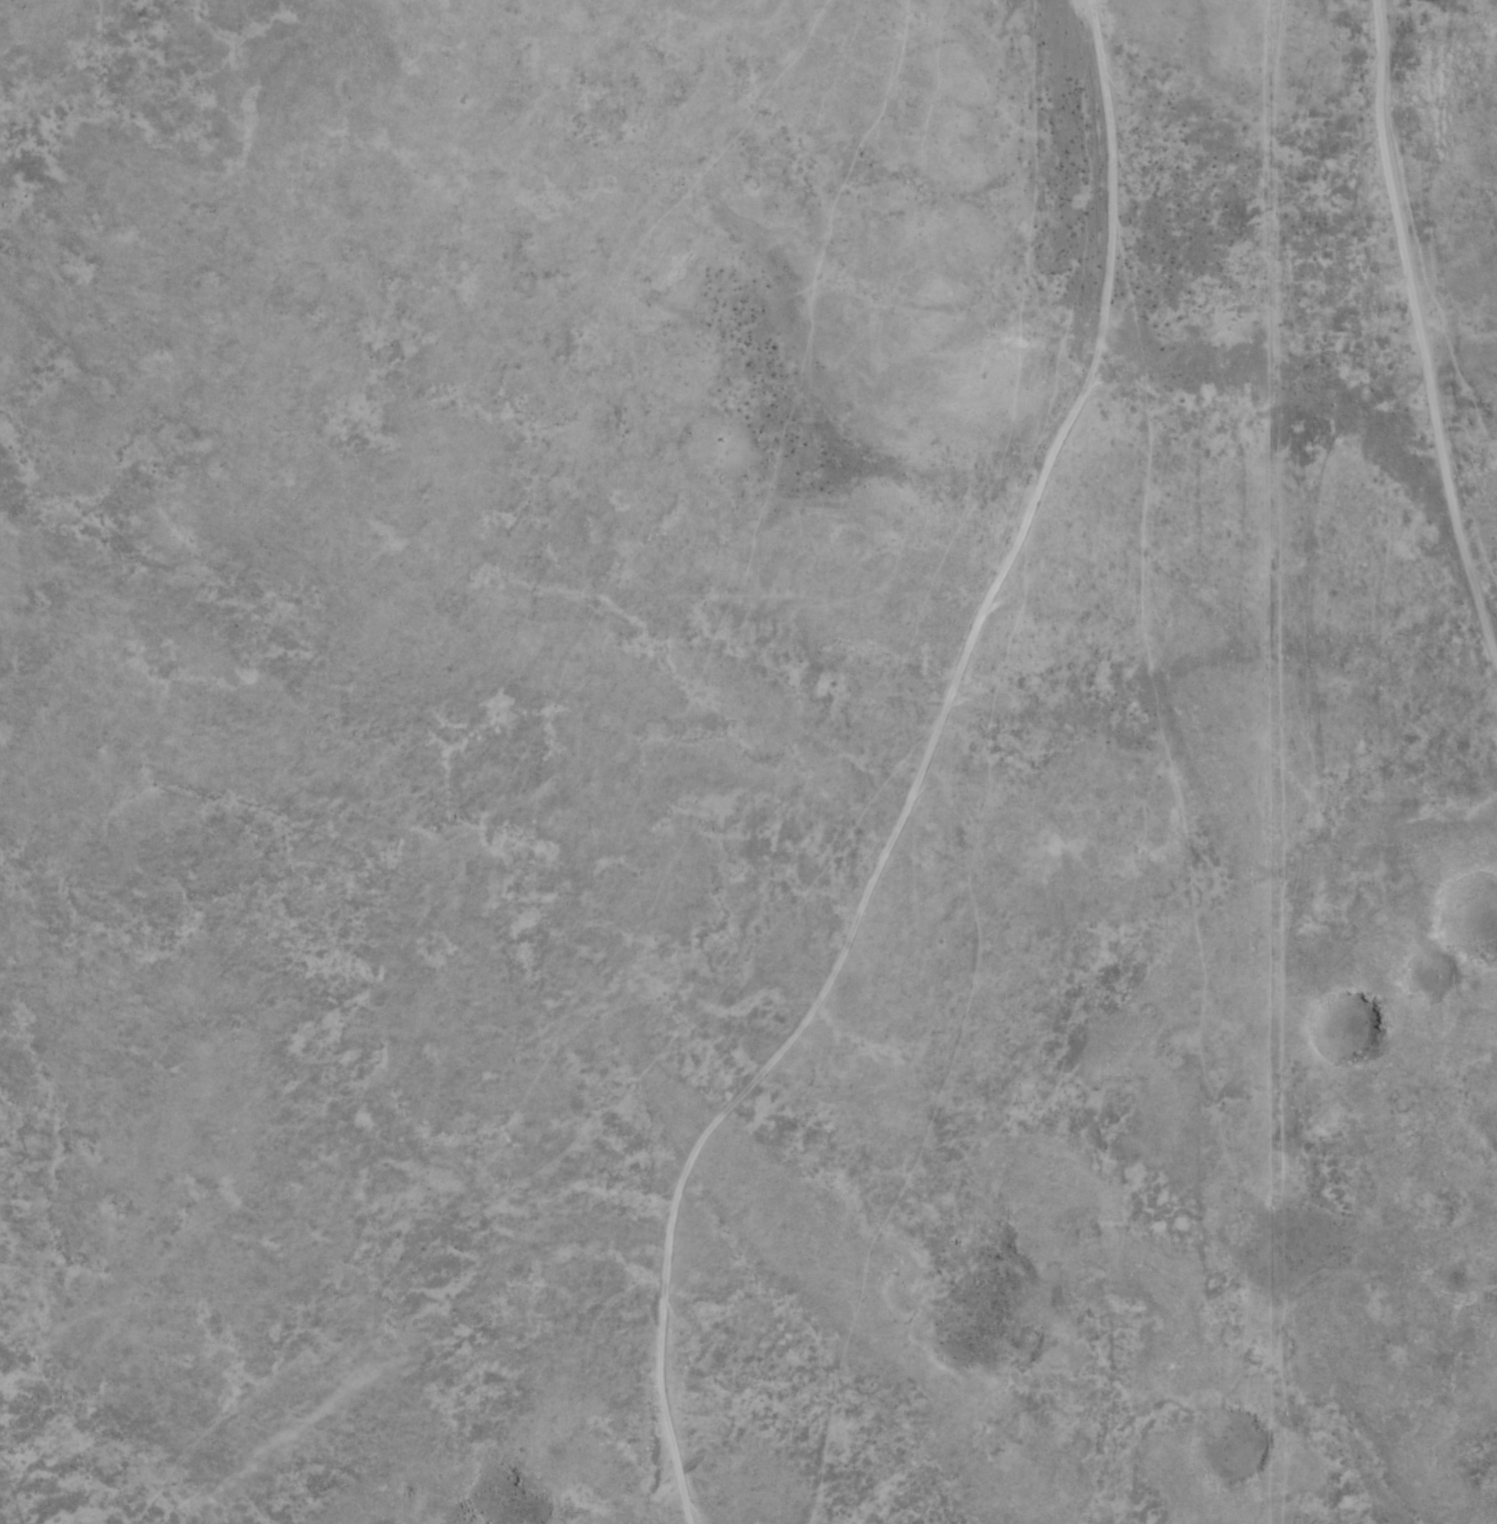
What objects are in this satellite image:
road: (1417, 337)
road: (917, 775)

